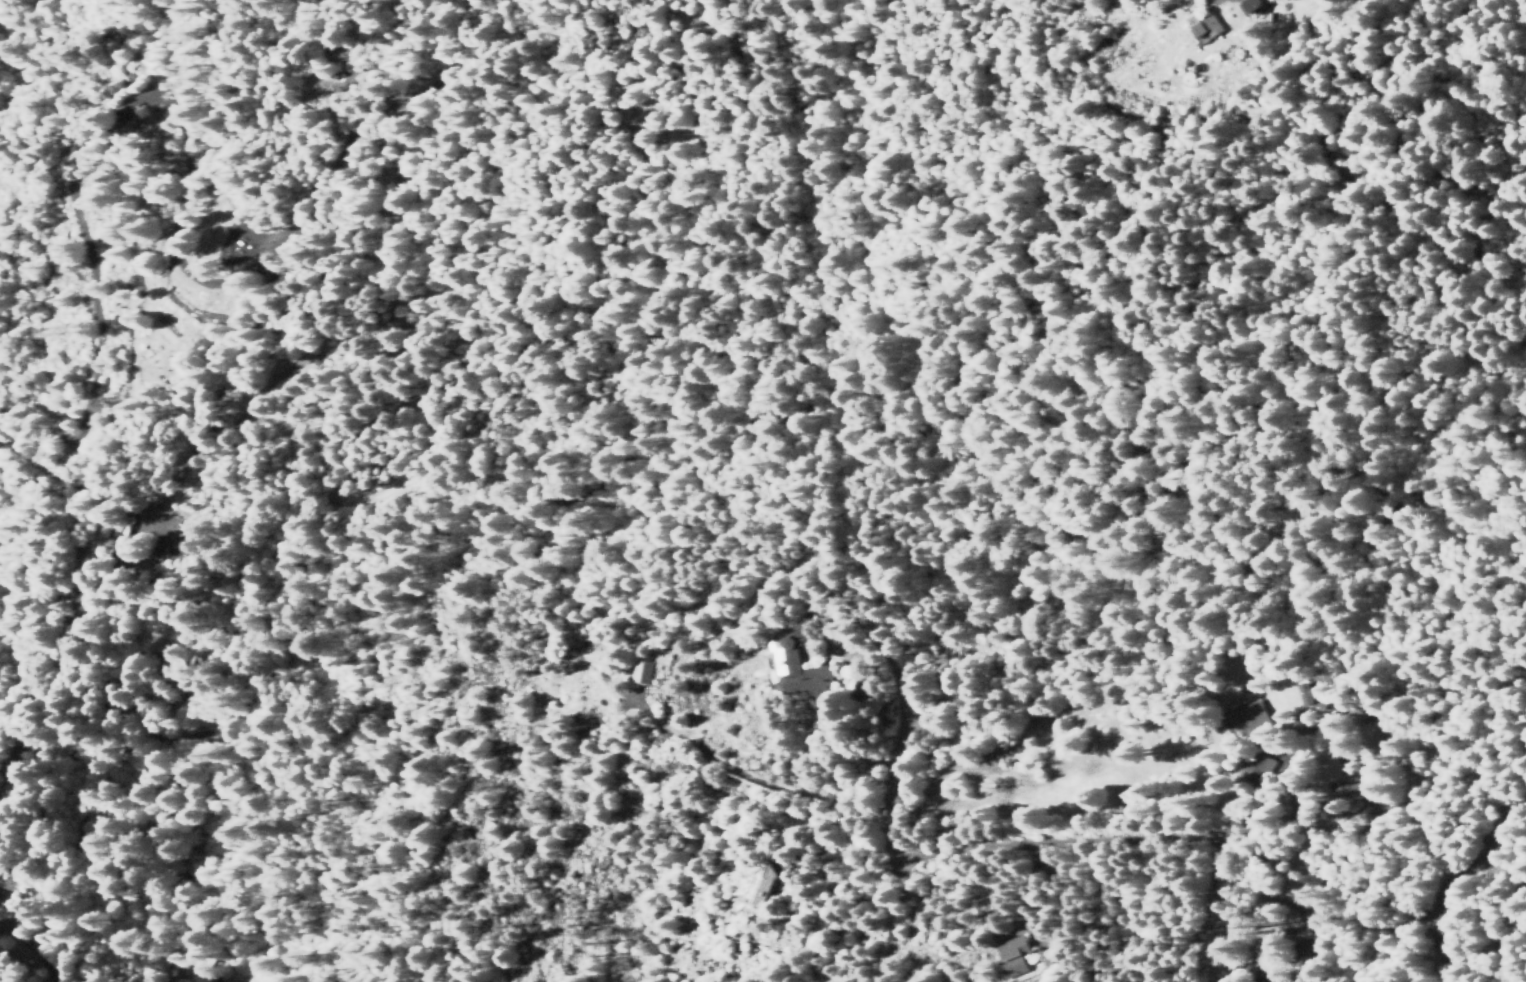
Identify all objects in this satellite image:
building: (1253, 5)
building: (1206, 25)
building: (181, 532)
road: (1238, 587)
building: (802, 627)
road: (887, 666)
building: (641, 671)
building: (799, 671)
building: (1304, 693)
building: (1250, 717)
building: (770, 882)
road: (899, 890)
building: (1045, 957)
building: (1013, 959)

